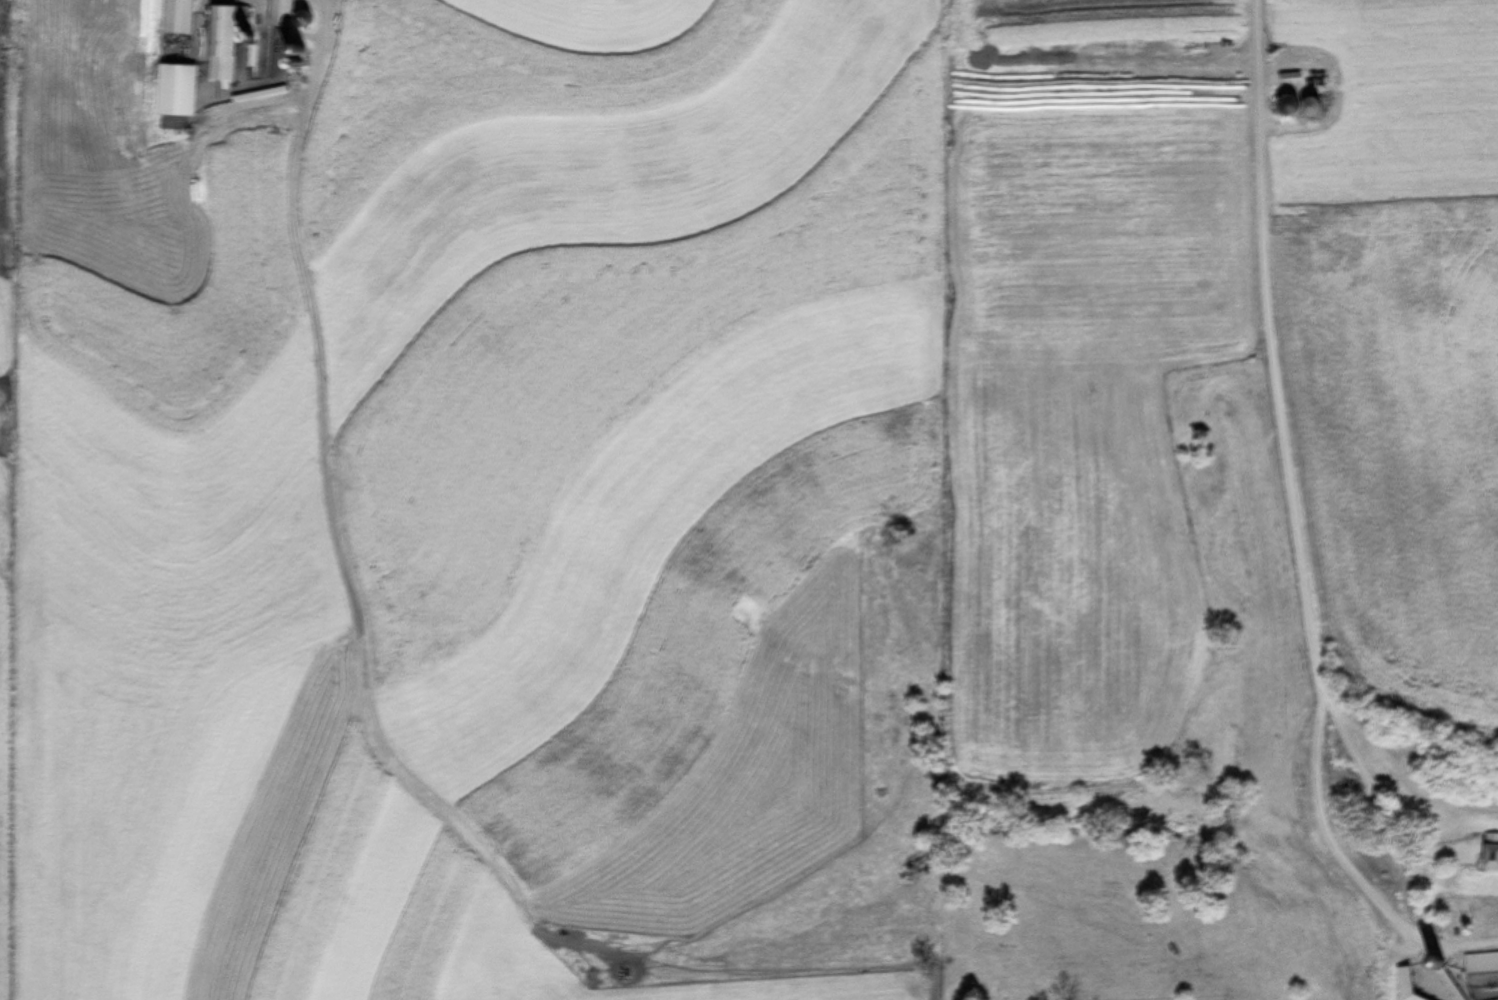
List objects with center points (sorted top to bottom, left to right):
building: (280, 13)
building: (177, 17)
building: (224, 40)
building: (283, 55)
building: (175, 91)
building: (196, 173)
road: (1285, 490)
building: (1489, 851)

